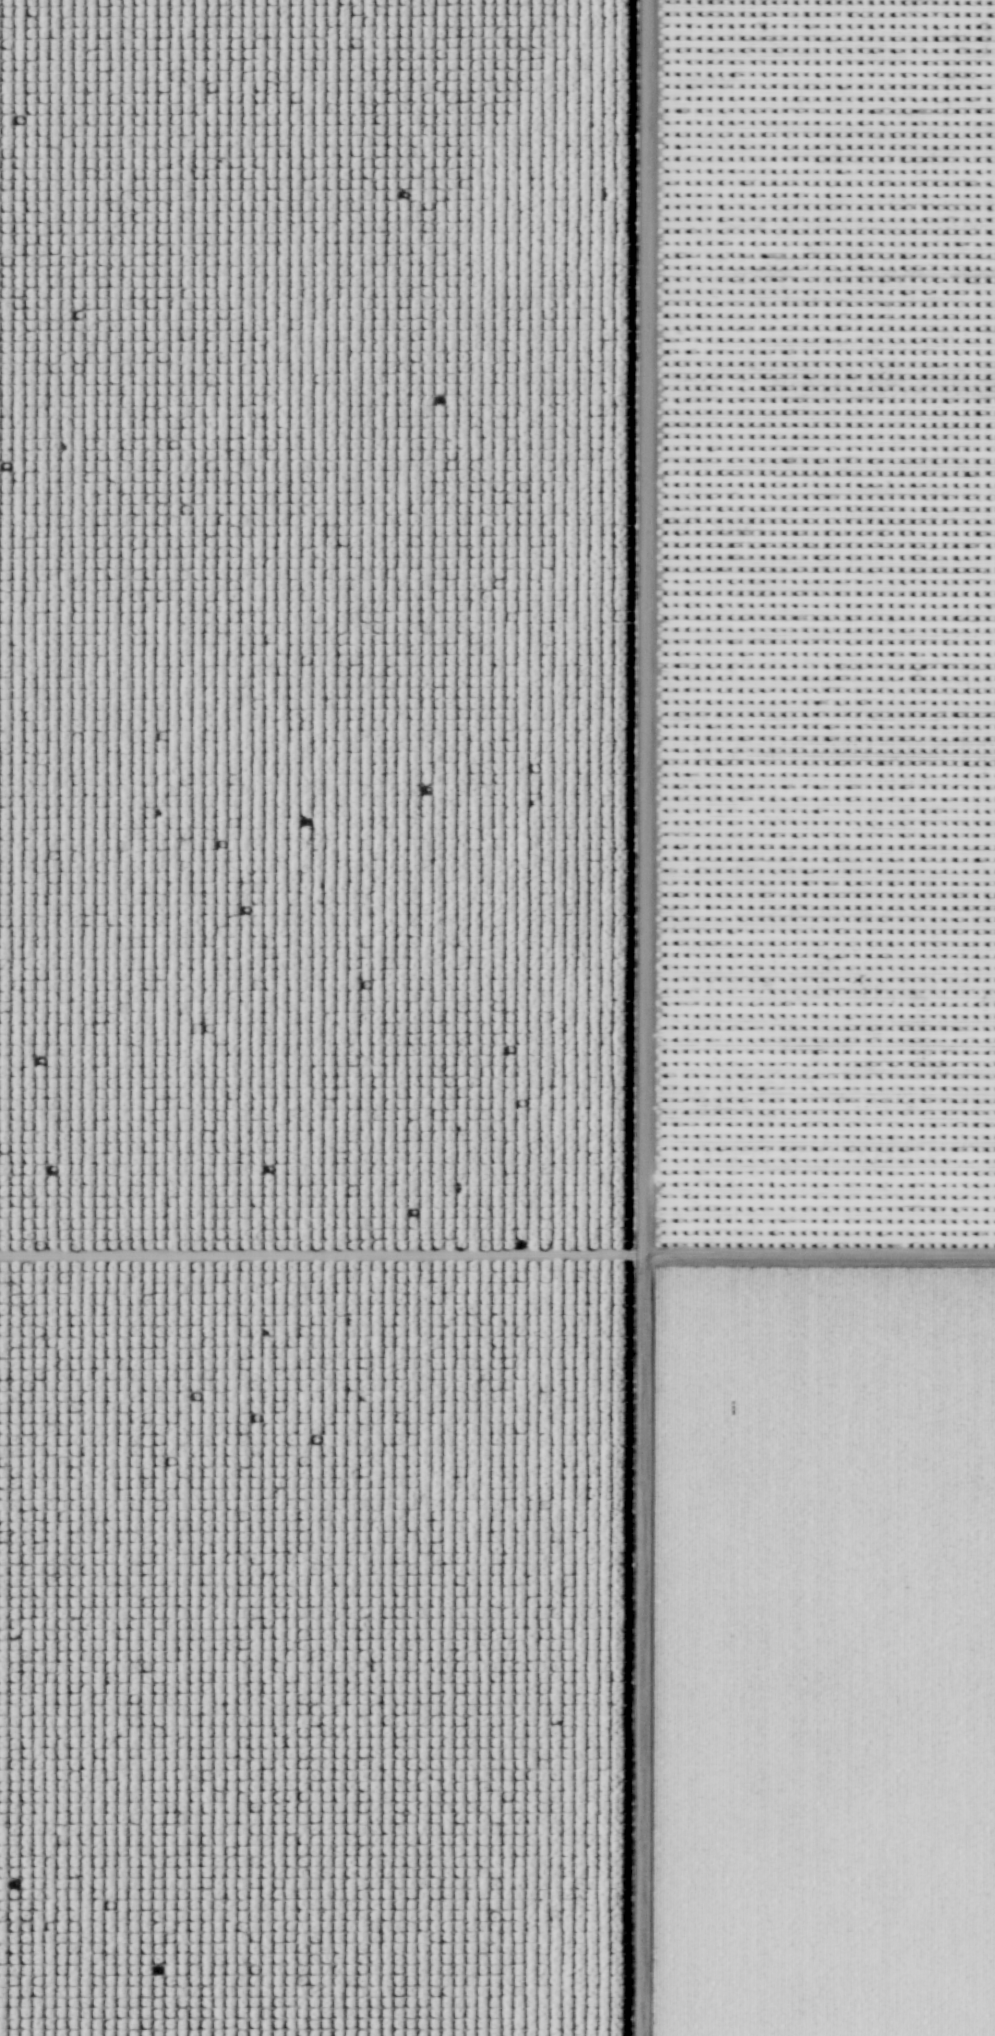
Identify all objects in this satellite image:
road: (653, 1018)

